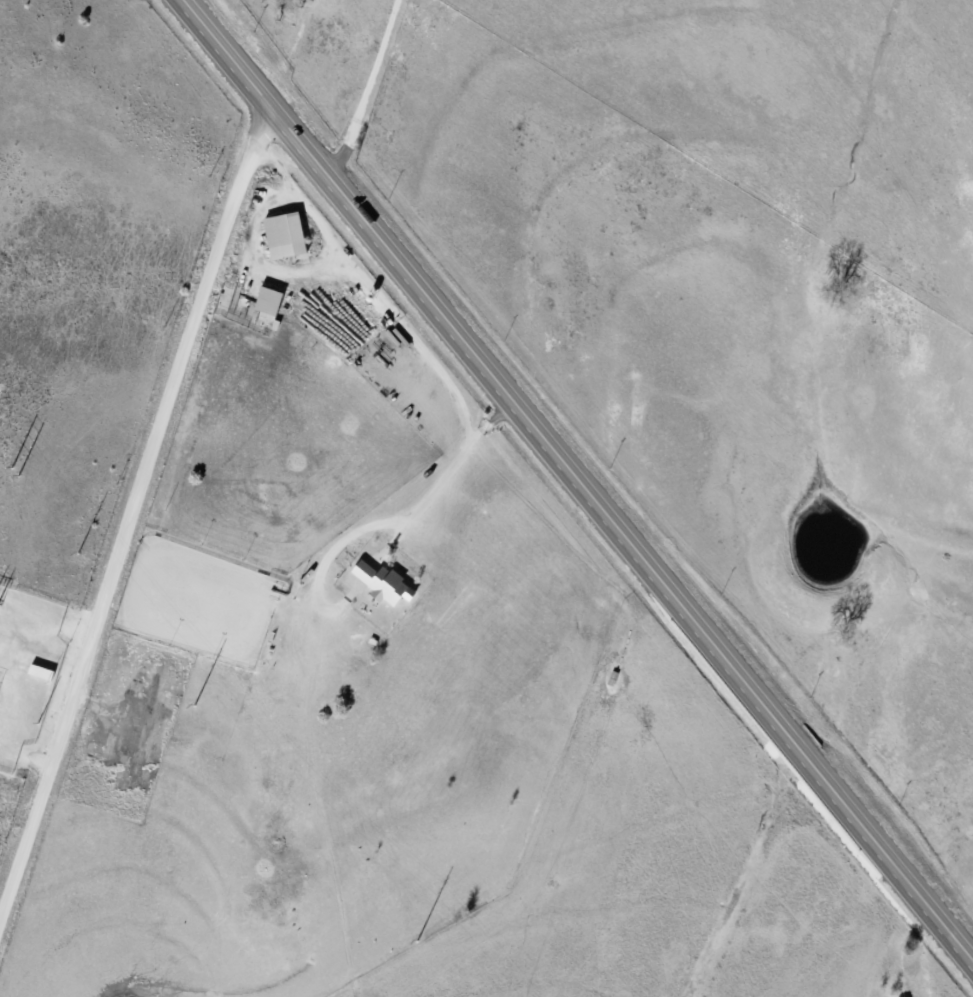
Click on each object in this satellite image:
road: (307, 54)
power tower: (10, 468)
power tower: (17, 476)
road: (577, 477)
road: (132, 507)
power tower: (77, 553)
power substation: (25, 667)
power tower: (193, 705)
power tower: (416, 941)

